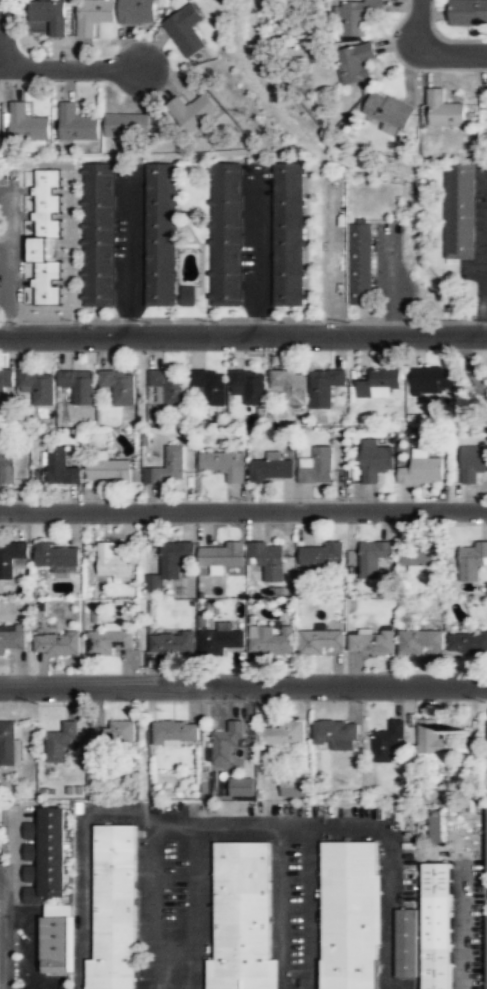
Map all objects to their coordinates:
building: (136, 12)
building: (468, 12)
building: (356, 15)
building: (50, 16)
building: (94, 16)
road: (418, 21)
building: (186, 31)
road: (2, 32)
road: (451, 52)
building: (355, 62)
road: (70, 66)
building: (443, 110)
building: (193, 112)
building: (388, 113)
building: (26, 124)
building: (77, 124)
building: (127, 126)
building: (459, 210)
building: (161, 234)
building: (226, 234)
building: (288, 235)
building: (99, 236)
building: (46, 238)
road: (129, 253)
road: (8, 261)
building: (361, 264)
building: (189, 296)
road: (484, 319)
road: (243, 335)
building: (6, 379)
building: (433, 380)
building: (325, 385)
building: (380, 385)
building: (119, 386)
building: (209, 386)
building: (289, 386)
building: (39, 387)
building: (80, 387)
building: (169, 387)
building: (249, 387)
building: (374, 461)
building: (472, 463)
building: (224, 464)
building: (8, 465)
building: (61, 467)
building: (169, 467)
building: (317, 467)
building: (422, 469)
building: (110, 471)
building: (273, 471)
road: (243, 510)
building: (57, 555)
building: (419, 555)
building: (221, 556)
building: (12, 557)
building: (322, 558)
building: (373, 558)
building: (174, 561)
building: (268, 561)
building: (472, 561)
building: (113, 562)
building: (12, 639)
building: (110, 640)
building: (220, 640)
building: (272, 640)
building: (320, 640)
building: (419, 641)
building: (372, 642)
building: (57, 643)
building: (173, 643)
building: (467, 643)
road: (243, 685)
street lamp: (486, 700)
street lamp: (256, 701)
street lamp: (363, 701)
street lamp: (39, 702)
building: (486, 730)
building: (176, 731)
building: (337, 733)
building: (115, 735)
building: (284, 735)
building: (389, 741)
building: (439, 741)
building: (61, 742)
building: (9, 744)
building: (227, 744)
building: (241, 787)
building: (292, 787)
road: (115, 812)
road: (176, 822)
road: (230, 823)
building: (437, 826)
building: (485, 840)
road: (12, 841)
building: (46, 855)
road: (389, 872)
road: (311, 892)
building: (240, 907)
building: (115, 908)
building: (352, 914)
road: (18, 918)
road: (2, 928)
building: (427, 931)
building: (58, 938)
road: (34, 953)
building: (485, 954)
building: (261, 966)

